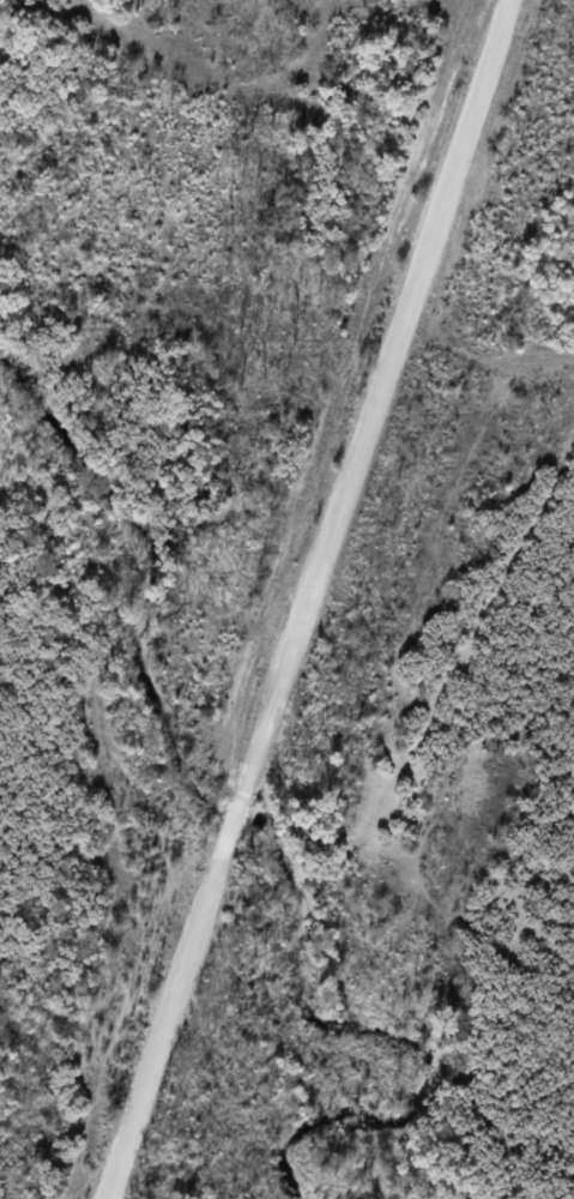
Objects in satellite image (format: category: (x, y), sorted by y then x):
road: (306, 598)

